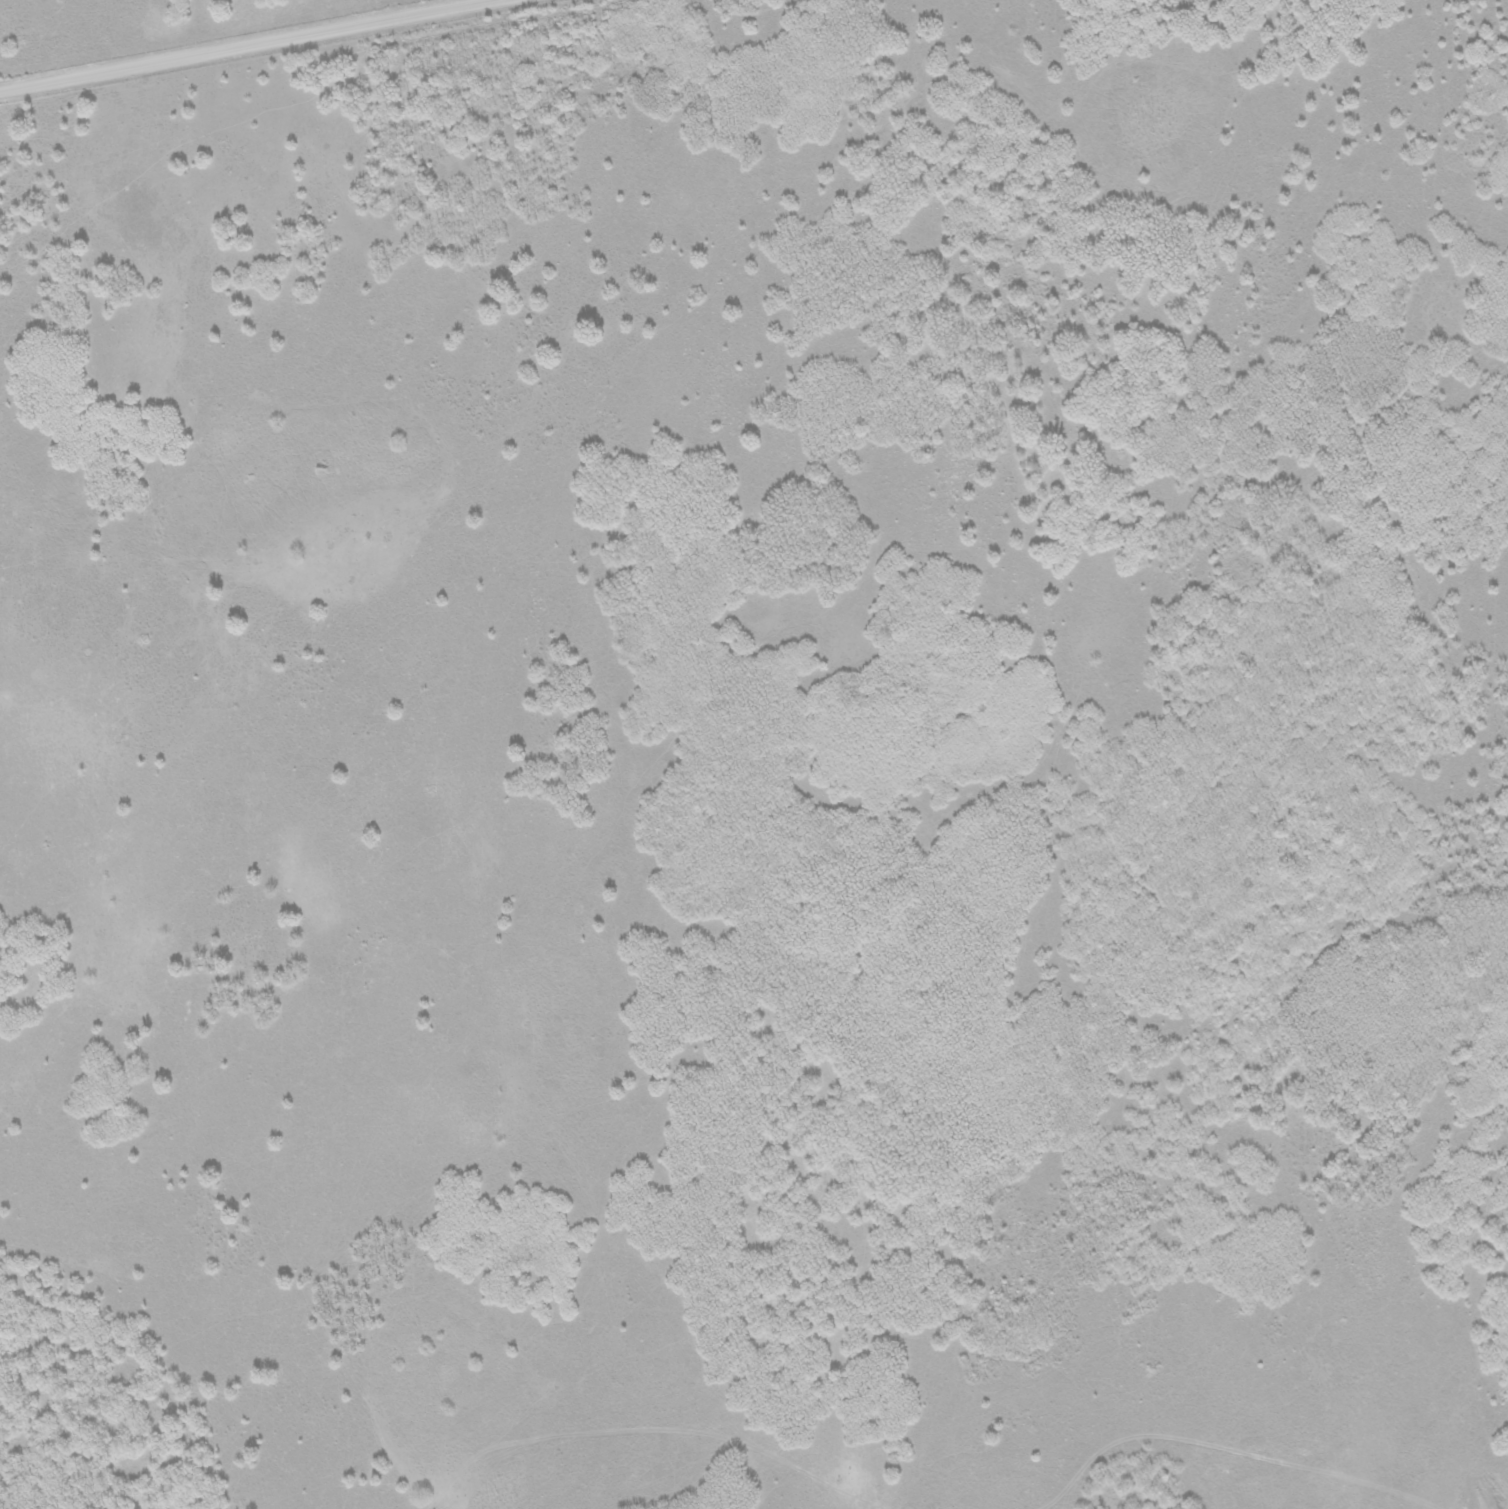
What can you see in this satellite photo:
road: (242, 44)

